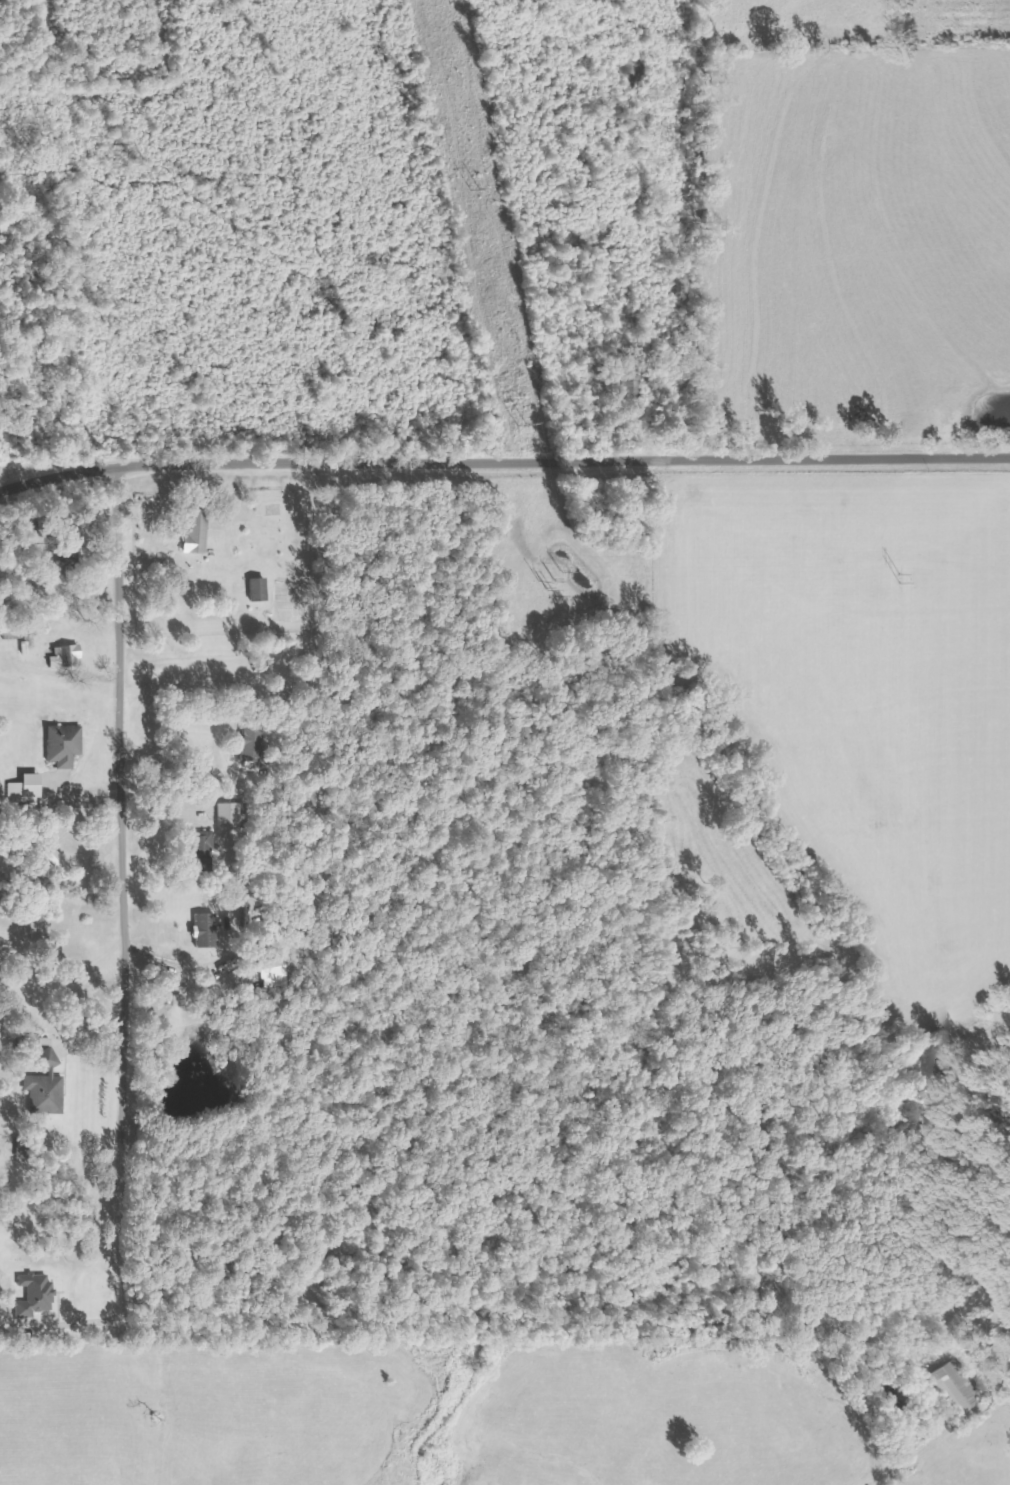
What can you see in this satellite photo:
power tower: (481, 190)
power tower: (530, 425)
road: (503, 462)
building: (201, 532)
power tower: (901, 579)
power tower: (555, 582)
building: (262, 589)
building: (70, 656)
building: (256, 743)
building: (67, 745)
building: (30, 787)
building: (235, 815)
building: (206, 849)
building: (56, 854)
road: (122, 890)
building: (209, 930)
building: (49, 1092)
building: (39, 1295)
building: (960, 1386)

